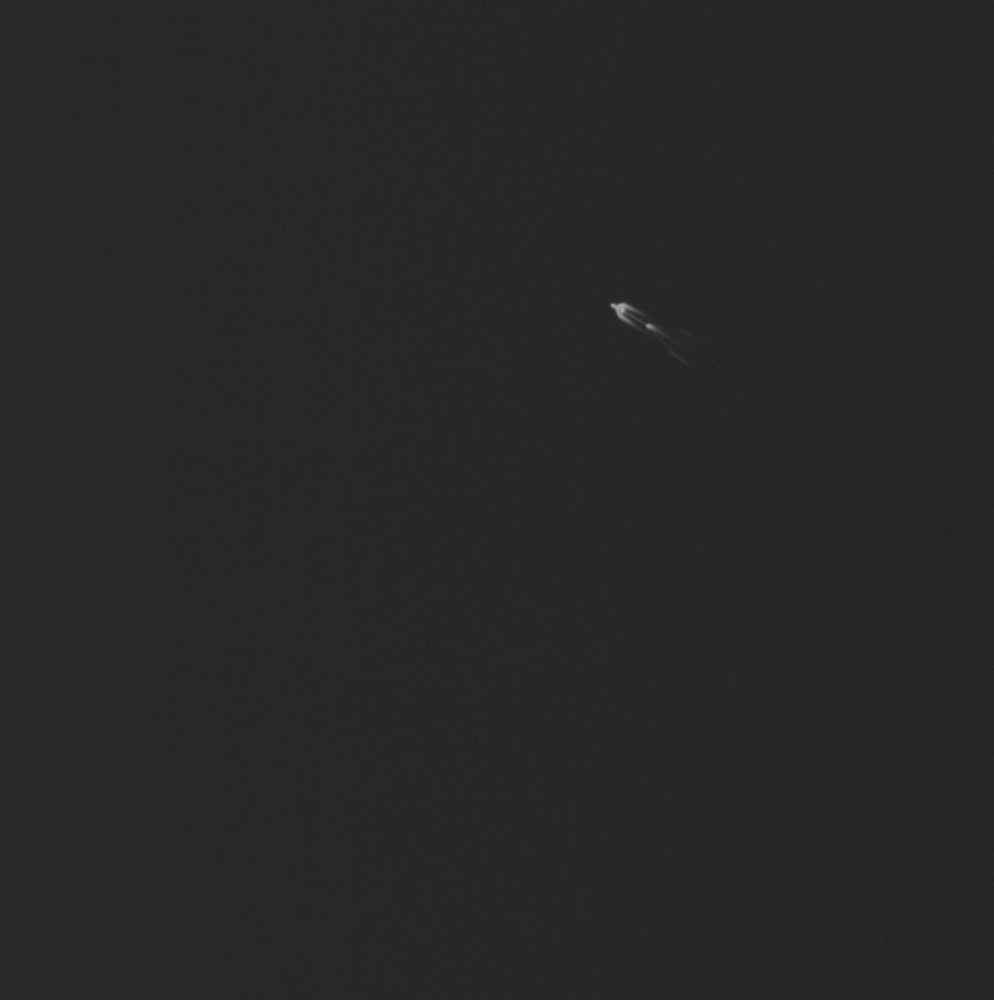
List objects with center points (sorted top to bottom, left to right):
river: (332, 762)

